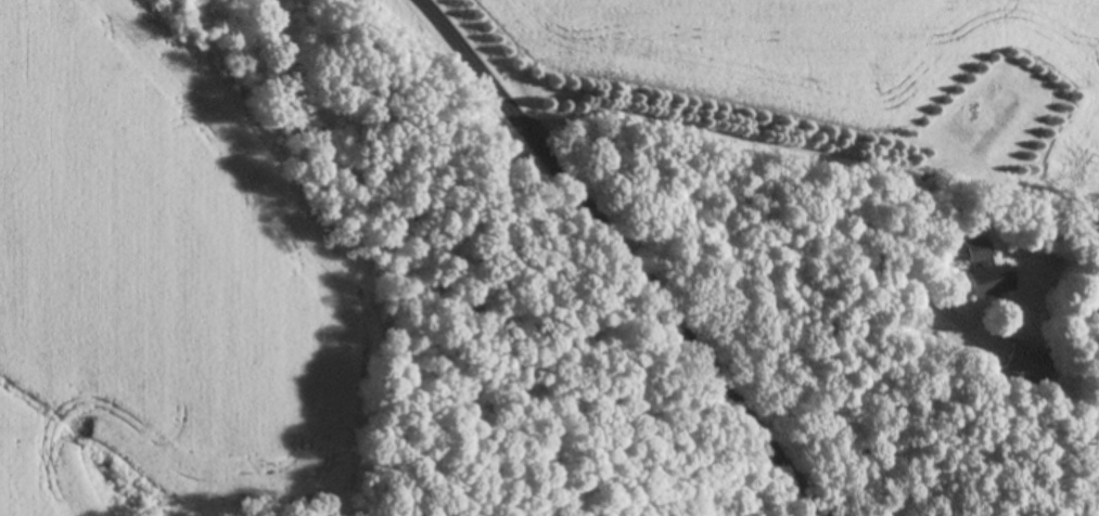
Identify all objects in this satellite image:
road: (609, 267)
building: (980, 271)
building: (1025, 366)

